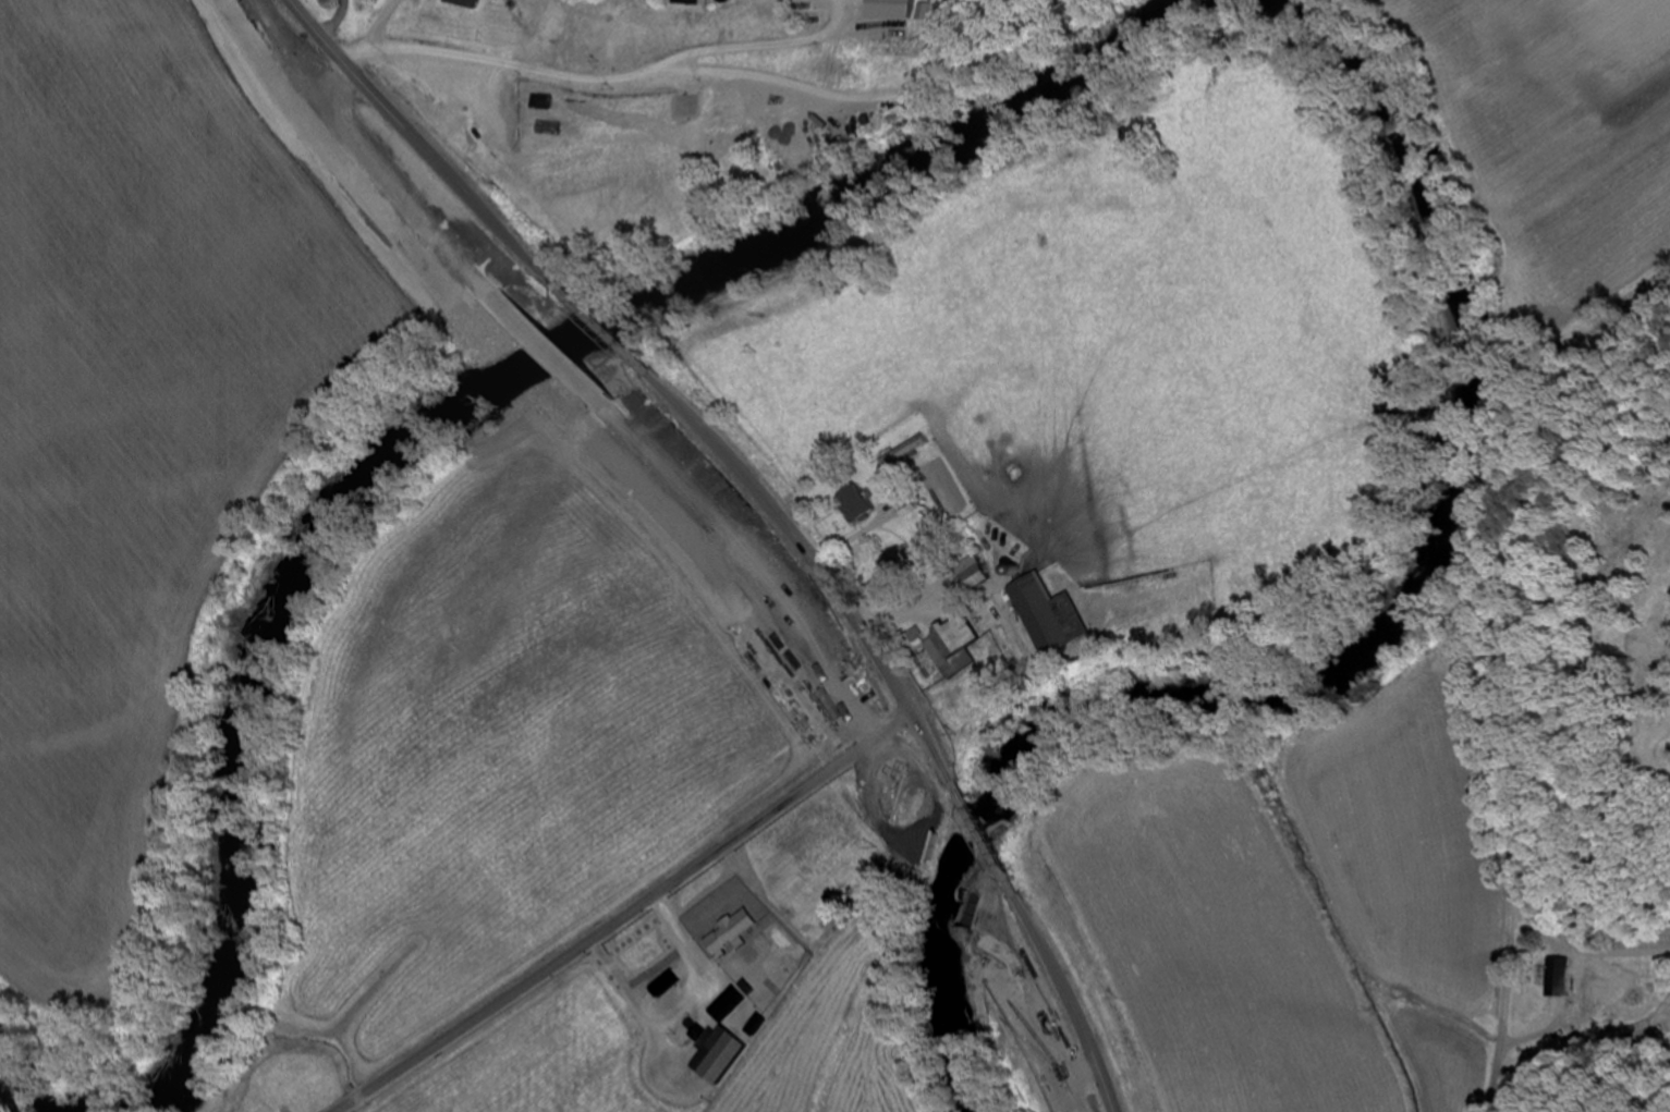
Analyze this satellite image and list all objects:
building: (681, 3)
building: (459, 4)
road: (716, 70)
building: (767, 124)
road: (427, 149)
road: (602, 325)
river: (447, 390)
building: (900, 453)
building: (853, 505)
road: (808, 555)
building: (900, 563)
building: (968, 575)
building: (1039, 618)
building: (951, 648)
river: (1345, 648)
road: (1463, 652)
road: (974, 817)
road: (627, 915)
building: (729, 933)
building: (1553, 970)
road: (1062, 979)
building: (657, 990)
building: (726, 1005)
building: (666, 1013)
building: (714, 1056)
river: (36, 1097)

